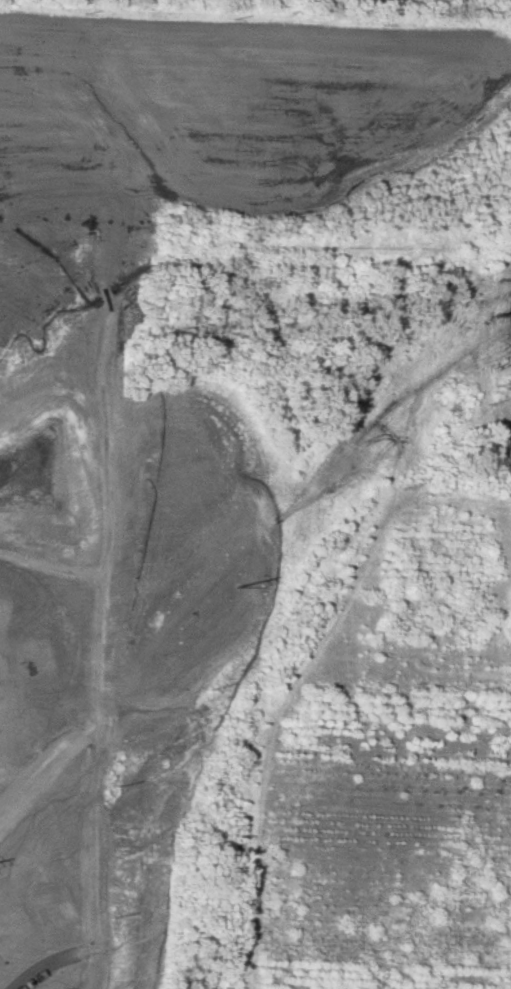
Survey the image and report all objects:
power tower: (497, 316)
road: (107, 523)
road: (49, 566)
power tower: (233, 584)
road: (414, 735)
road: (90, 764)
road: (40, 967)

